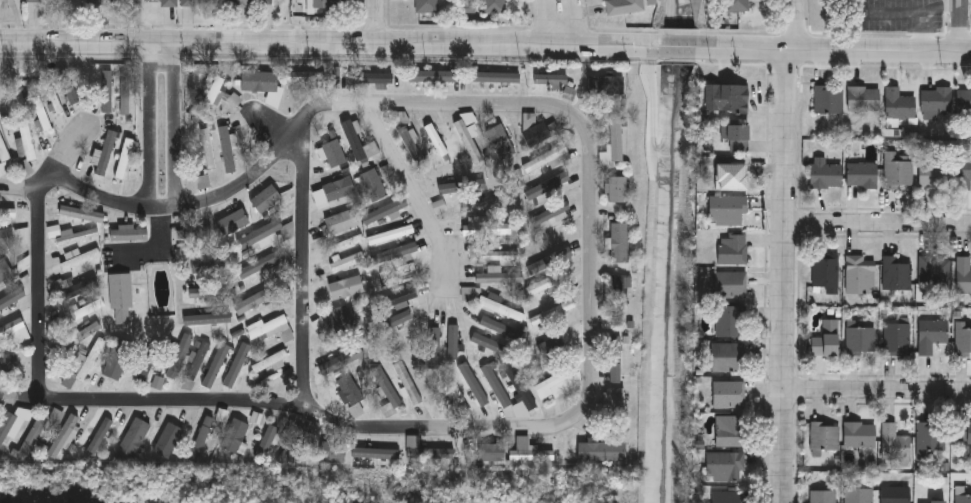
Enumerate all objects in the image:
building: (42, 0)
building: (95, 2)
building: (124, 2)
building: (264, 2)
building: (168, 3)
building: (196, 3)
building: (237, 3)
building: (327, 4)
building: (736, 5)
building: (426, 6)
building: (492, 6)
building: (623, 6)
road: (374, 22)
road: (562, 22)
road: (798, 25)
road: (962, 26)
road: (329, 44)
road: (685, 48)
road: (841, 50)
building: (304, 77)
building: (484, 77)
building: (432, 78)
building: (373, 79)
building: (549, 79)
building: (258, 81)
building: (603, 84)
building: (67, 88)
building: (123, 94)
building: (209, 96)
building: (726, 97)
building: (862, 98)
building: (827, 99)
building: (934, 100)
building: (963, 101)
building: (897, 103)
building: (50, 106)
building: (40, 113)
road: (172, 123)
road: (145, 124)
road: (297, 128)
building: (534, 134)
building: (613, 138)
building: (731, 138)
building: (498, 141)
building: (24, 142)
building: (466, 142)
building: (408, 145)
building: (225, 146)
building: (204, 148)
building: (356, 151)
building: (104, 152)
building: (331, 153)
road: (70, 154)
building: (3, 158)
building: (124, 158)
building: (545, 159)
building: (897, 171)
building: (861, 174)
building: (963, 174)
building: (731, 175)
building: (825, 175)
building: (933, 175)
building: (201, 181)
road: (43, 184)
building: (370, 184)
building: (542, 187)
building: (336, 189)
building: (615, 189)
road: (19, 192)
road: (419, 196)
building: (263, 198)
building: (481, 201)
building: (728, 210)
building: (7, 212)
building: (80, 213)
building: (382, 215)
building: (549, 215)
road: (877, 220)
building: (338, 221)
building: (228, 222)
building: (484, 228)
building: (127, 232)
building: (189, 232)
building: (69, 234)
building: (265, 234)
building: (21, 235)
road: (154, 235)
building: (6, 237)
building: (617, 241)
building: (392, 245)
building: (732, 249)
building: (547, 251)
building: (493, 254)
building: (340, 256)
building: (80, 258)
building: (205, 262)
road: (594, 263)
building: (23, 264)
road: (303, 264)
building: (255, 268)
building: (825, 270)
building: (934, 270)
building: (3, 271)
building: (395, 271)
building: (896, 273)
building: (859, 275)
building: (962, 275)
road: (782, 276)
building: (498, 277)
building: (547, 281)
building: (731, 284)
building: (55, 285)
building: (343, 287)
building: (617, 289)
building: (210, 292)
road: (40, 297)
building: (119, 298)
building: (393, 298)
building: (252, 299)
building: (4, 302)
building: (489, 303)
building: (552, 311)
building: (210, 318)
building: (341, 320)
building: (730, 321)
building: (10, 326)
building: (87, 328)
building: (268, 328)
building: (487, 331)
building: (394, 334)
building: (932, 334)
building: (827, 339)
building: (898, 339)
building: (862, 340)
building: (963, 341)
building: (432, 345)
building: (550, 348)
building: (614, 349)
building: (726, 356)
building: (344, 357)
building: (116, 358)
building: (85, 361)
building: (147, 361)
building: (269, 362)
building: (6, 363)
building: (207, 363)
building: (231, 366)
building: (556, 384)
building: (385, 386)
building: (414, 387)
building: (450, 388)
building: (483, 388)
building: (519, 388)
building: (348, 391)
road: (876, 391)
building: (729, 394)
building: (610, 402)
road: (292, 406)
building: (4, 426)
building: (730, 431)
building: (963, 432)
building: (62, 435)
building: (200, 435)
building: (232, 435)
building: (824, 435)
building: (859, 435)
building: (132, 436)
building: (99, 437)
building: (29, 438)
building: (930, 438)
building: (166, 440)
building: (264, 442)
building: (893, 443)
building: (289, 447)
building: (376, 450)
building: (438, 450)
building: (330, 451)
building: (599, 451)
building: (490, 452)
building: (545, 452)
building: (724, 466)
building: (894, 494)
building: (858, 495)
building: (727, 496)
building: (822, 496)
building: (963, 499)
building: (931, 502)

